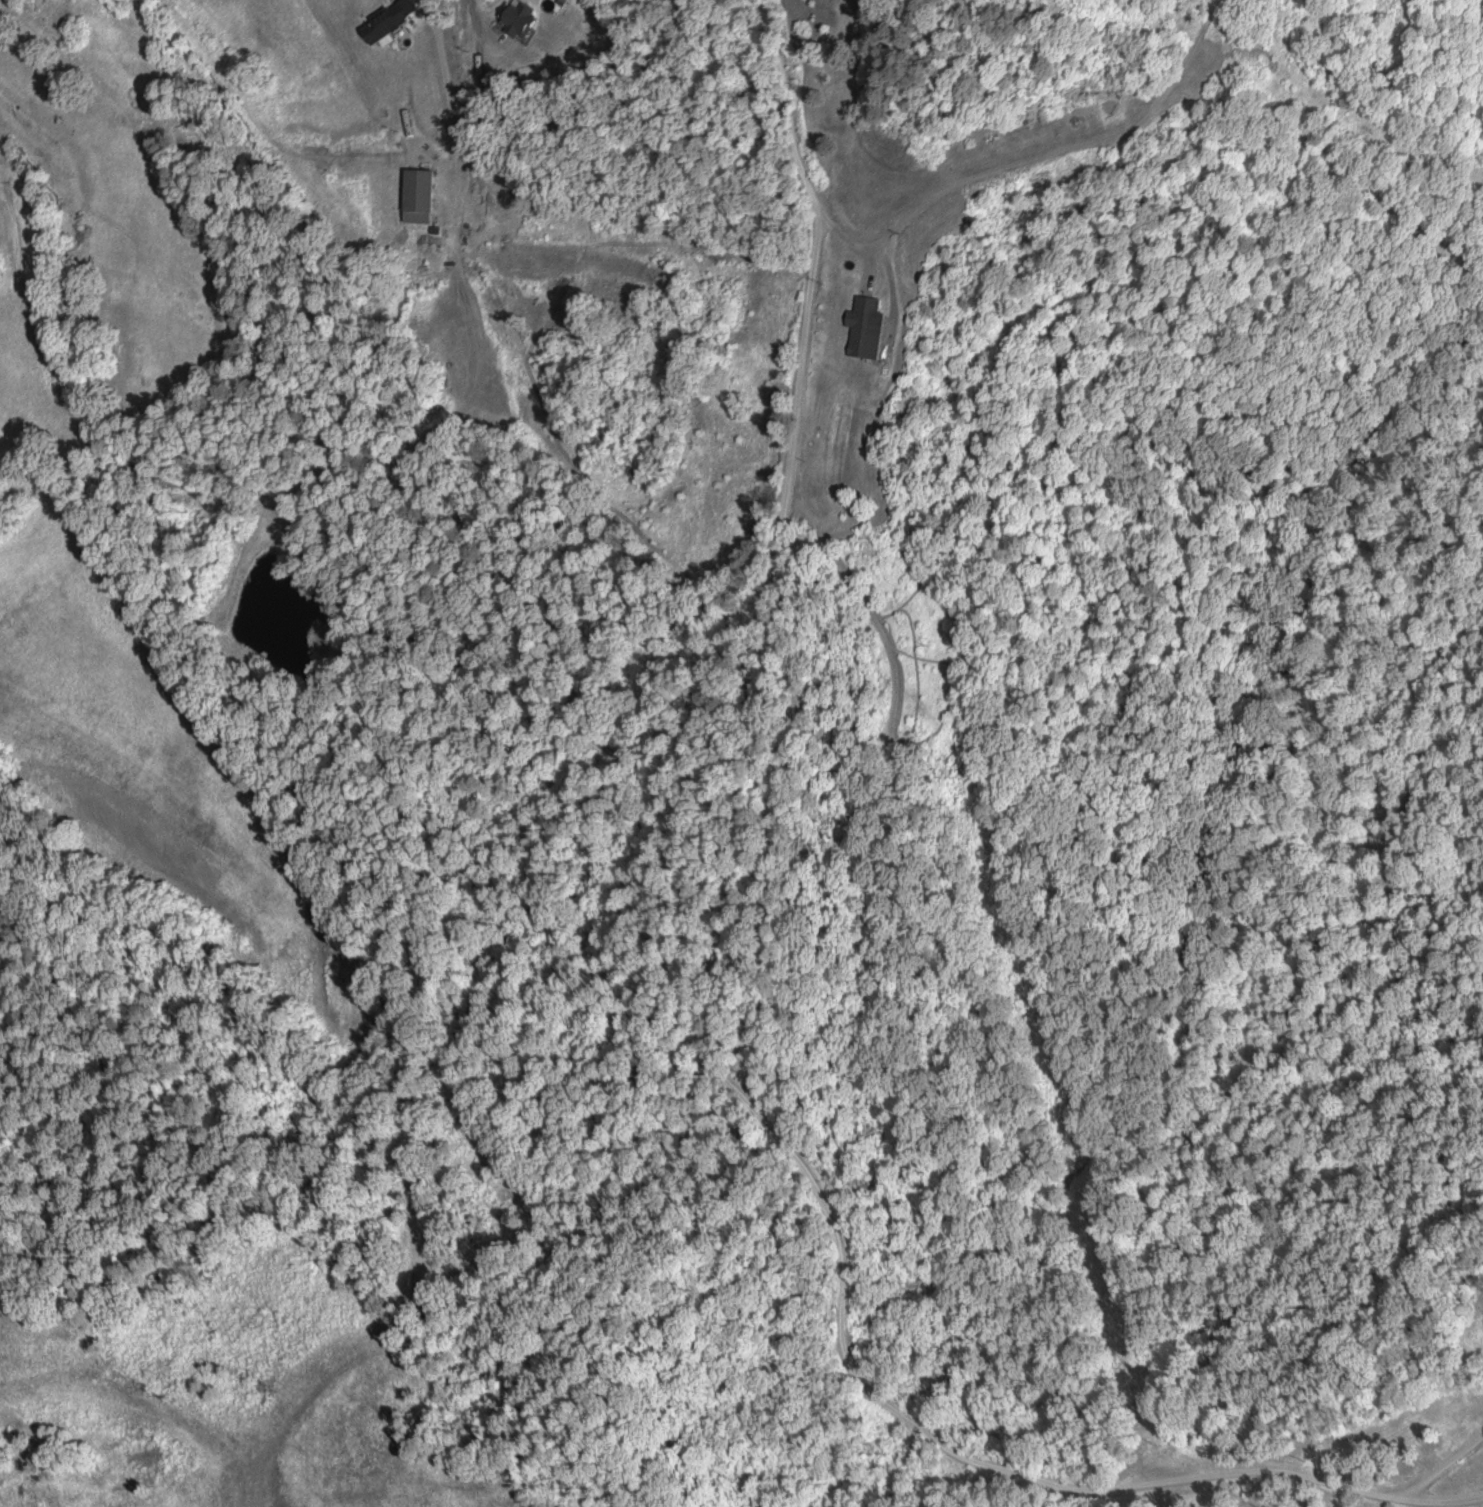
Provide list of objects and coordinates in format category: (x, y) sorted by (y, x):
building: (517, 17)
building: (387, 21)
road: (444, 78)
building: (483, 79)
building: (417, 195)
building: (864, 326)
road: (705, 987)
road: (1400, 1504)

